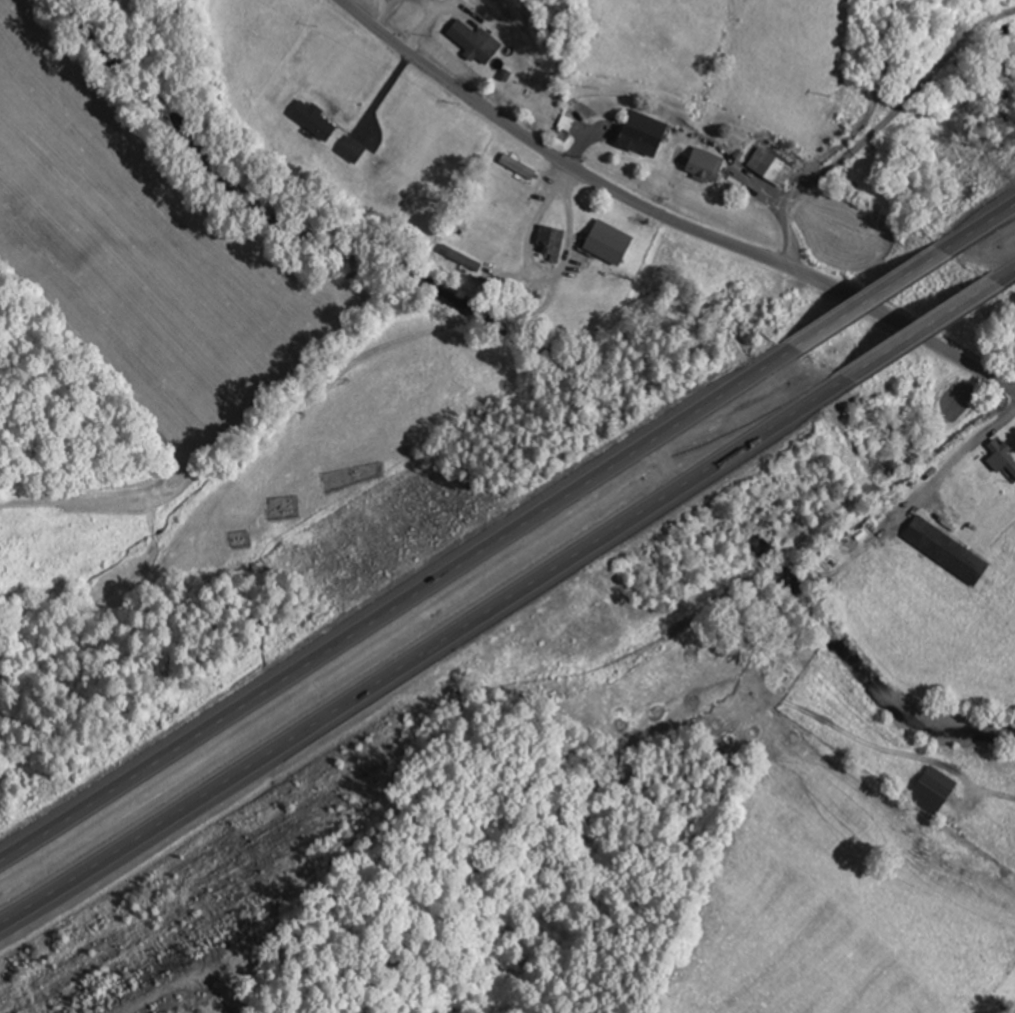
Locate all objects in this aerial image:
building: (477, 41)
building: (315, 118)
road: (877, 128)
building: (646, 133)
building: (354, 148)
building: (709, 162)
building: (520, 165)
road: (667, 216)
road: (984, 222)
building: (553, 237)
building: (611, 241)
building: (457, 255)
road: (1011, 270)
road: (876, 291)
road: (925, 326)
road: (491, 331)
building: (1002, 455)
building: (947, 550)
road: (400, 599)
road: (424, 659)

